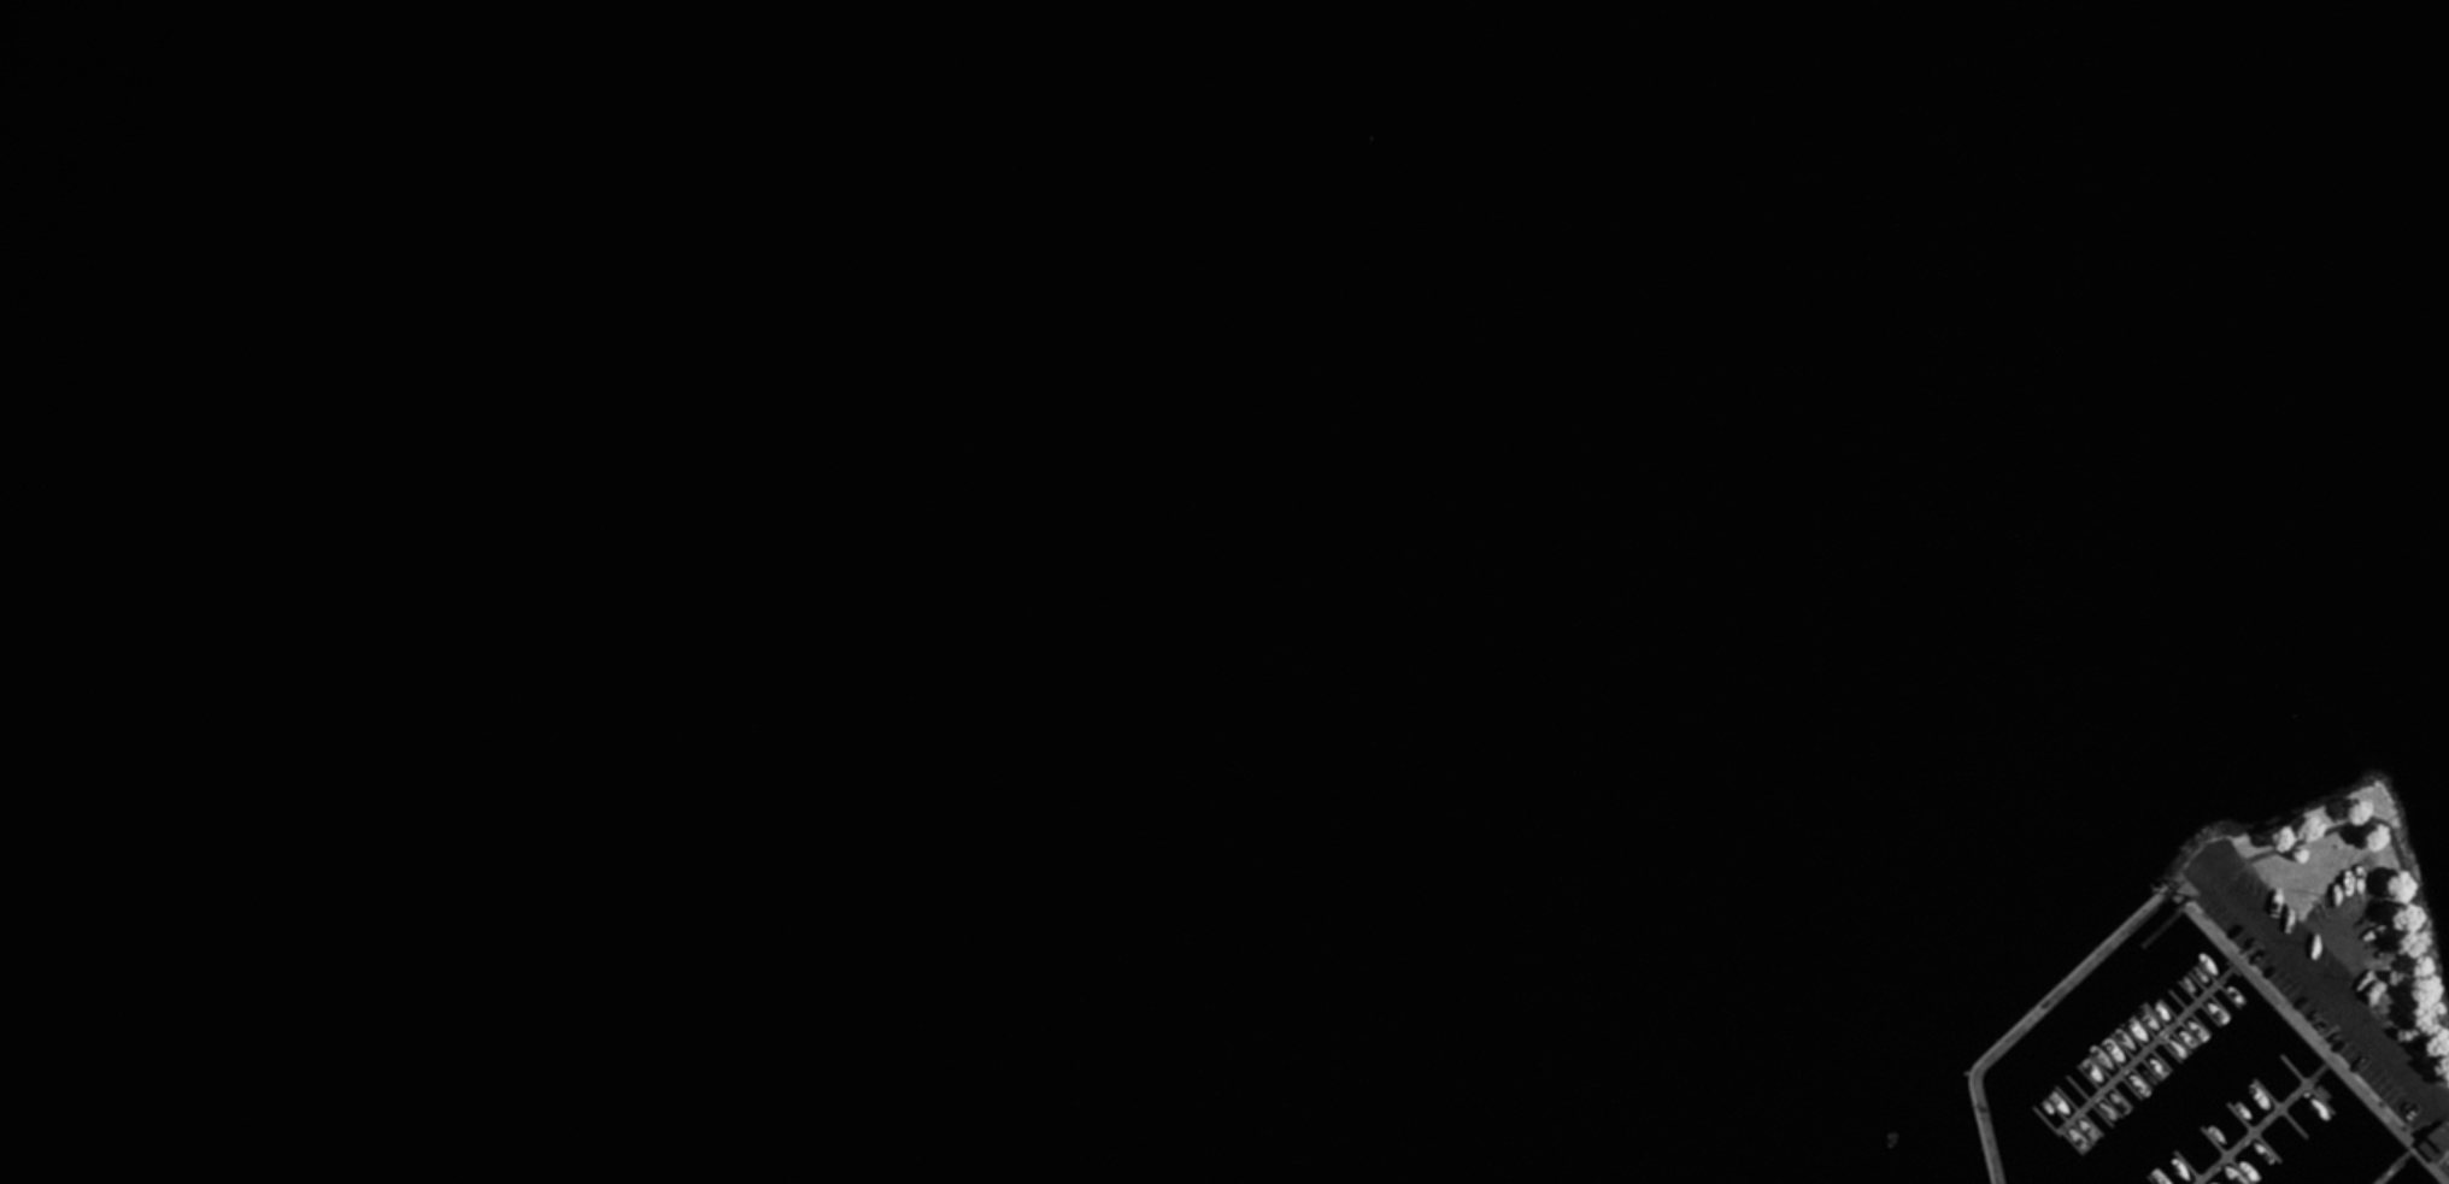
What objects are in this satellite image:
road: (2192, 884)
park: (2337, 943)
parking lot: (2338, 977)
road: (2331, 982)
pier: (2028, 1023)
pier: (2139, 1060)
pier: (2267, 1123)
building: (2438, 1143)
pier: (2397, 1167)

